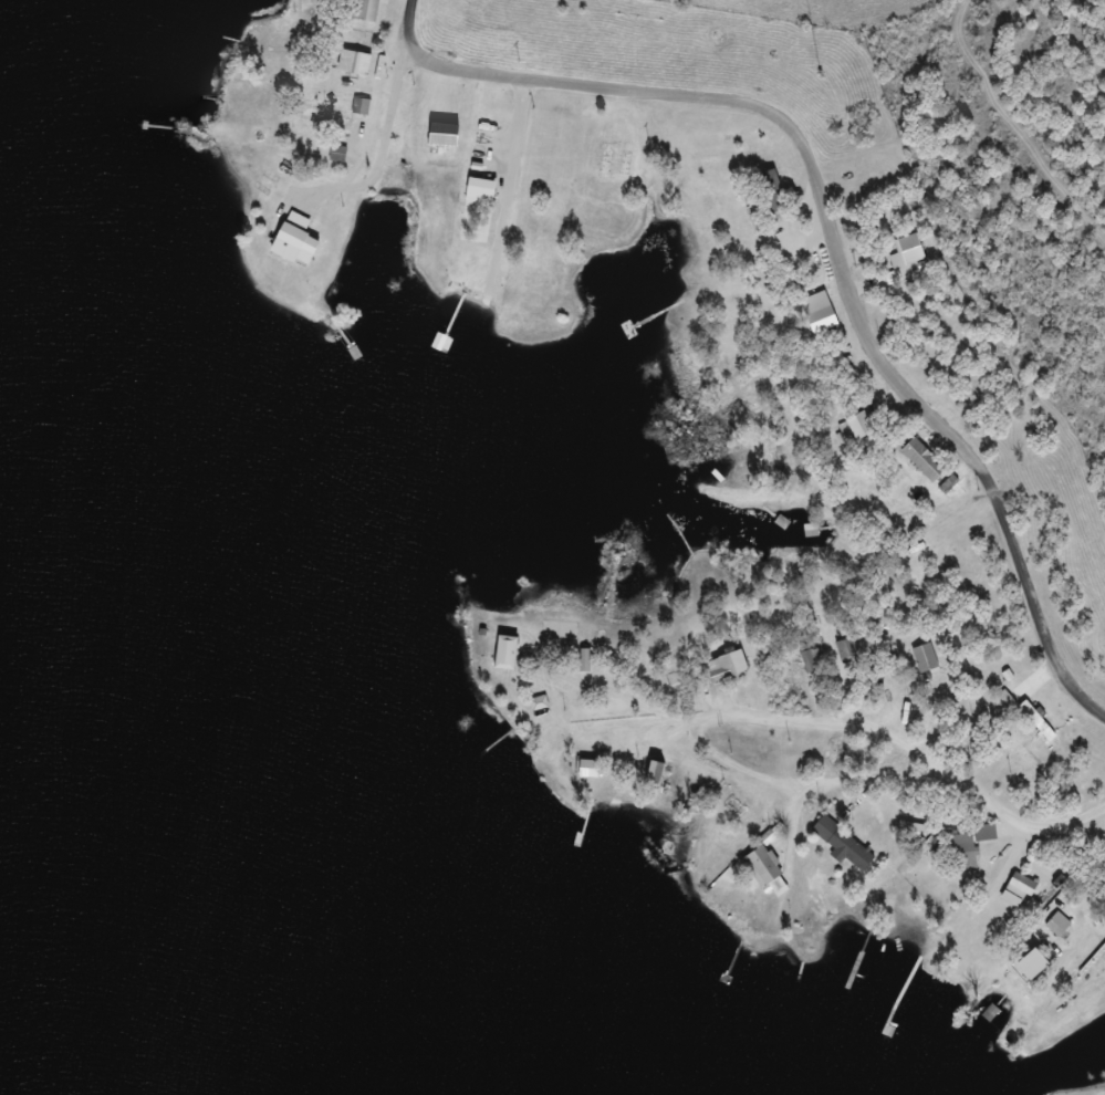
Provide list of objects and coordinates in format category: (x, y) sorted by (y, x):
building: (369, 11)
building: (357, 63)
building: (337, 114)
building: (340, 155)
building: (712, 164)
building: (768, 196)
building: (294, 243)
road: (847, 249)
building: (908, 253)
building: (803, 332)
building: (863, 427)
building: (926, 461)
building: (532, 578)
building: (856, 648)
building: (510, 654)
building: (927, 659)
building: (812, 661)
building: (730, 668)
building: (889, 687)
building: (593, 770)
building: (658, 778)
road: (837, 796)
building: (737, 810)
building: (914, 832)
building: (987, 833)
building: (846, 845)
building: (963, 849)
building: (765, 869)
building: (1023, 888)
building: (1098, 900)
building: (1060, 925)

